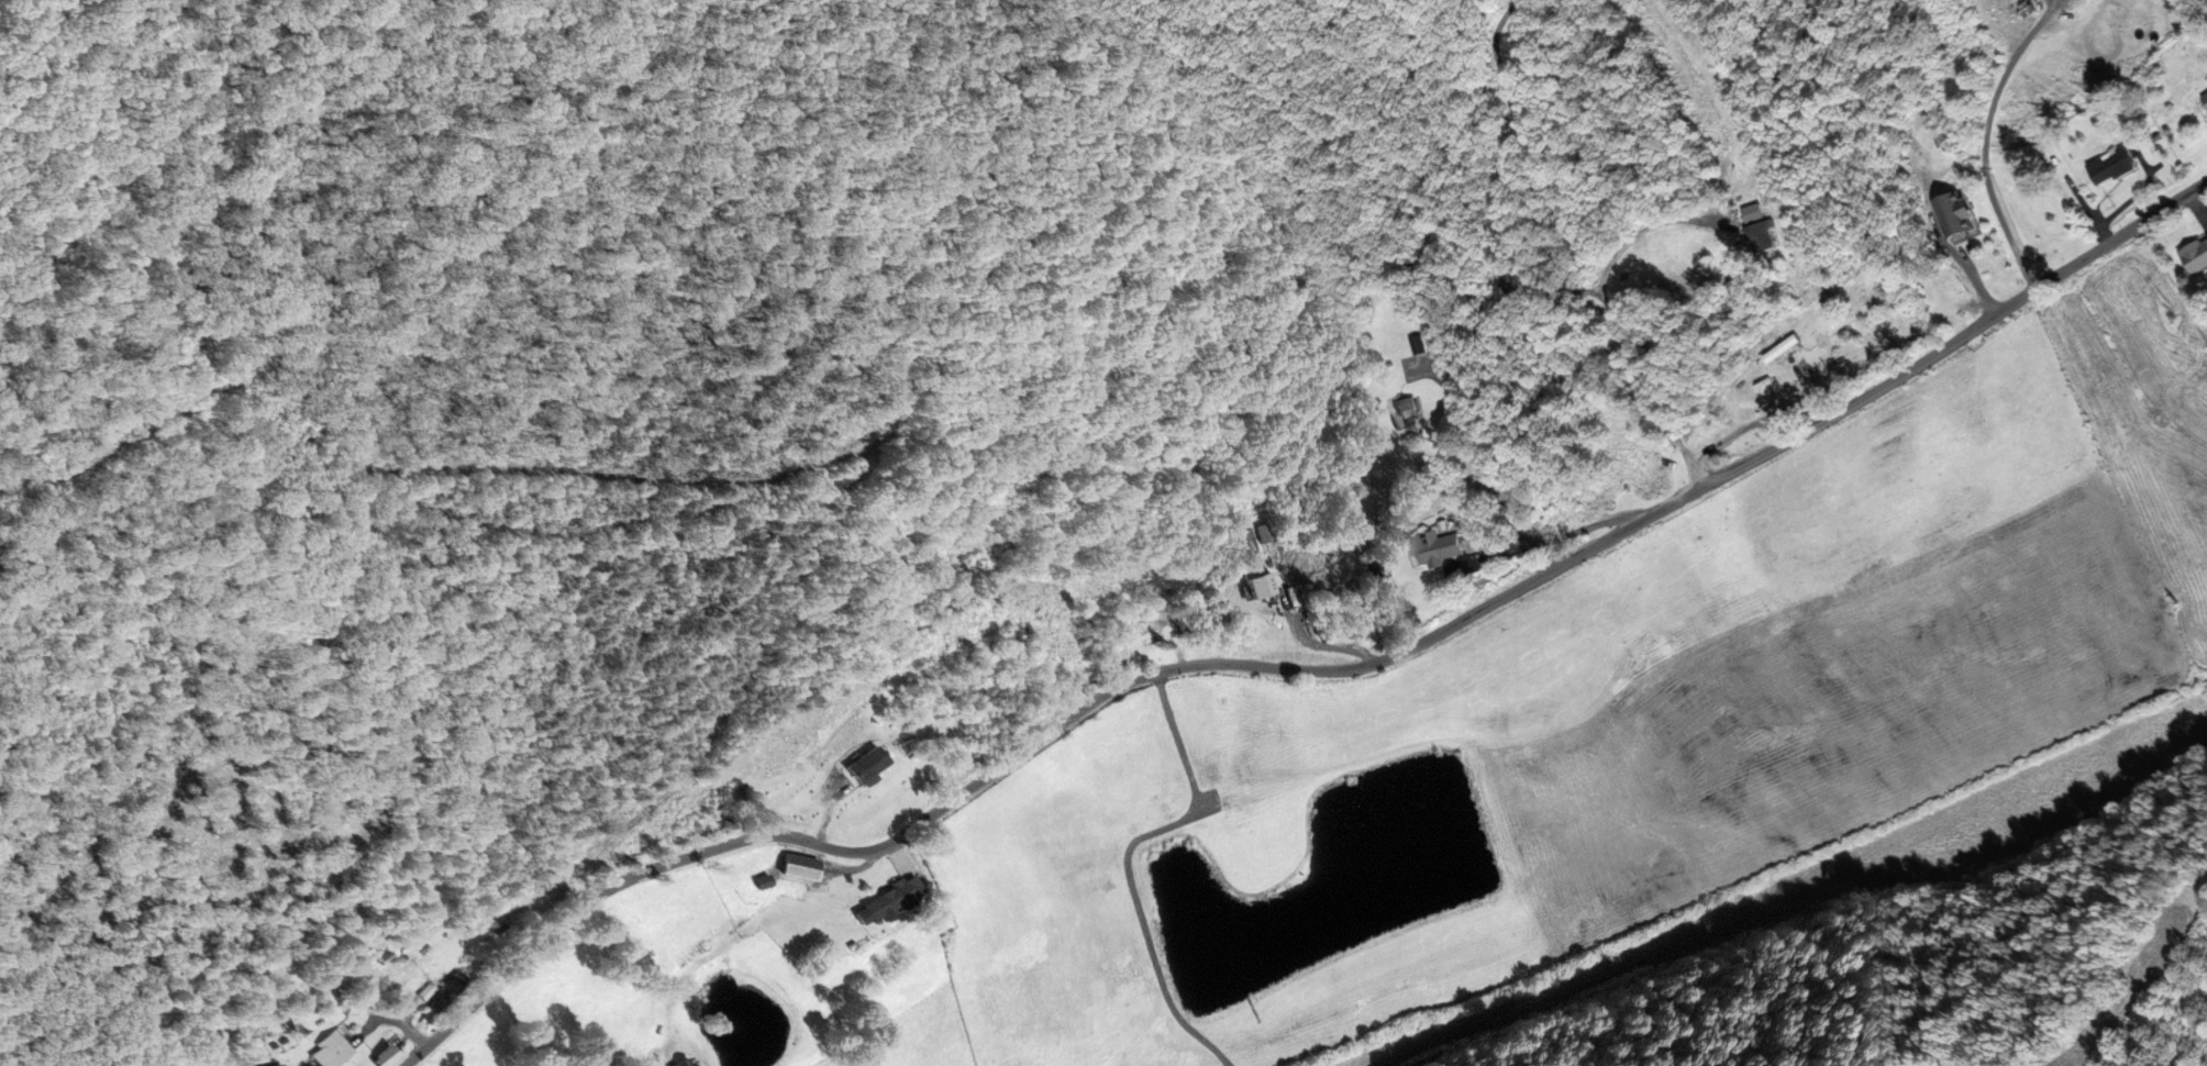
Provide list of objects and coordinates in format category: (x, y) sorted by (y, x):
building: (2204, 100)
building: (2109, 166)
building: (1955, 213)
building: (1761, 237)
building: (2196, 257)
building: (1418, 345)
building: (1773, 364)
building: (1407, 418)
building: (1243, 538)
building: (1434, 547)
building: (1252, 578)
building: (1151, 629)
road: (1309, 673)
building: (758, 881)
building: (887, 897)
building: (440, 992)
building: (323, 1050)

